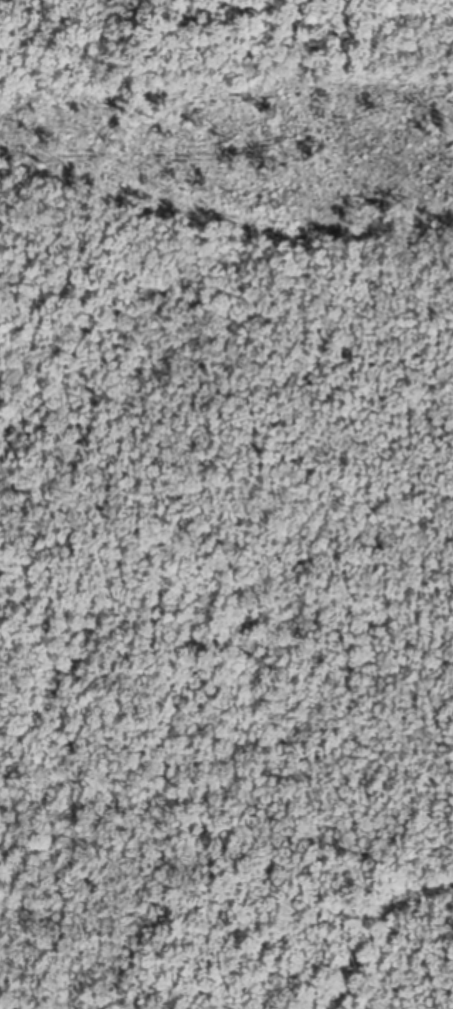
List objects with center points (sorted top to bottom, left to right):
road: (376, 930)

